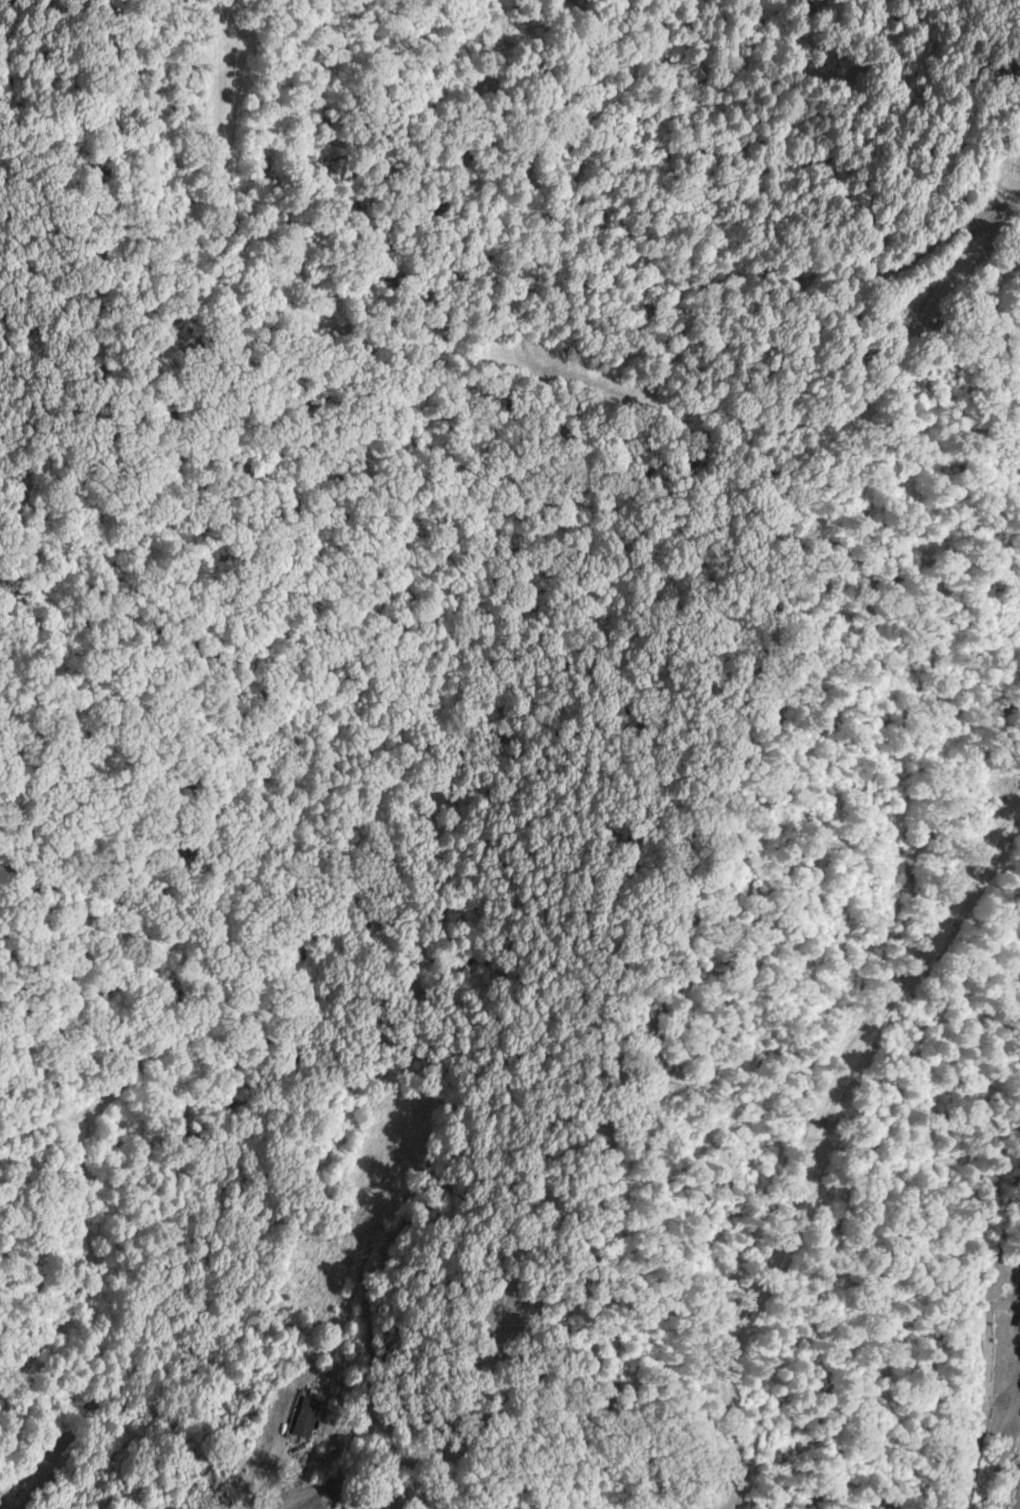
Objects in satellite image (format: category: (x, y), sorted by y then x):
building: (1019, 1321)
building: (304, 1417)
building: (38, 1491)

